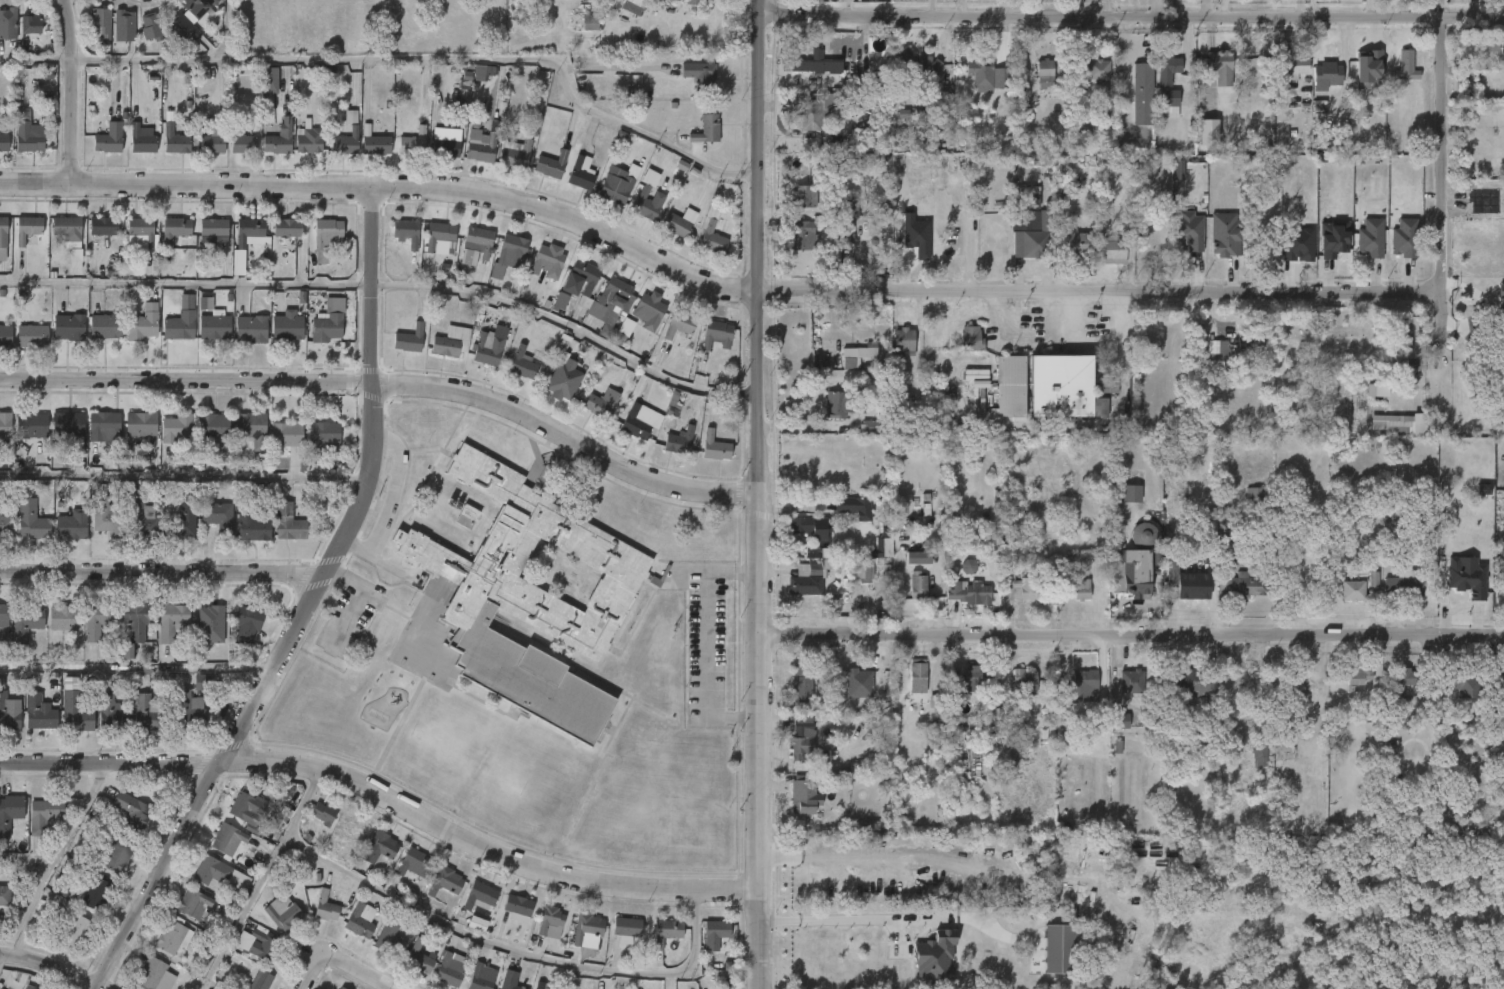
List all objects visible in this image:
building: (692, 2)
building: (630, 5)
building: (198, 9)
road: (1098, 18)
road: (1473, 19)
building: (30, 22)
building: (8, 23)
building: (100, 23)
building: (590, 23)
building: (126, 25)
building: (184, 27)
building: (152, 28)
road: (227, 30)
building: (1483, 55)
road: (433, 59)
road: (35, 61)
building: (814, 64)
building: (1291, 66)
road: (616, 67)
building: (916, 67)
building: (1218, 67)
building: (1403, 67)
building: (1166, 69)
building: (1097, 70)
building: (1369, 71)
building: (483, 72)
building: (47, 74)
building: (700, 74)
building: (1043, 74)
building: (1326, 74)
building: (979, 75)
building: (465, 80)
building: (269, 81)
road: (71, 92)
building: (1140, 93)
building: (1166, 104)
building: (812, 114)
building: (707, 129)
building: (27, 132)
building: (1208, 132)
building: (109, 138)
building: (307, 138)
building: (144, 139)
building: (214, 139)
building: (176, 140)
building: (243, 141)
building: (279, 141)
building: (479, 141)
building: (4, 142)
building: (343, 142)
building: (411, 142)
building: (444, 142)
building: (373, 145)
building: (513, 154)
building: (548, 165)
building: (579, 173)
building: (617, 185)
road: (387, 188)
building: (640, 194)
building: (801, 197)
road: (1446, 199)
building: (843, 206)
building: (1028, 224)
building: (65, 225)
building: (674, 225)
building: (103, 226)
building: (708, 226)
building: (287, 227)
building: (27, 228)
building: (853, 228)
building: (141, 229)
building: (175, 229)
building: (213, 231)
building: (1188, 231)
building: (406, 232)
building: (248, 234)
building: (439, 235)
building: (802, 235)
building: (1224, 235)
building: (325, 236)
building: (1368, 237)
building: (1403, 237)
building: (2, 238)
building: (1333, 239)
building: (478, 241)
building: (1077, 243)
building: (1297, 245)
building: (512, 249)
building: (1113, 249)
building: (547, 259)
building: (579, 281)
road: (186, 284)
road: (1101, 289)
building: (1500, 292)
building: (609, 299)
building: (560, 301)
building: (186, 302)
building: (646, 311)
building: (1501, 316)
building: (212, 321)
building: (328, 321)
building: (143, 324)
building: (179, 326)
building: (678, 326)
building: (68, 327)
building: (105, 327)
building: (251, 328)
building: (287, 328)
road: (567, 328)
building: (622, 332)
building: (6, 335)
building: (32, 336)
building: (714, 337)
building: (409, 339)
building: (970, 339)
building: (1251, 339)
building: (452, 342)
building: (1405, 343)
building: (902, 345)
road: (937, 346)
building: (488, 349)
building: (1216, 353)
building: (855, 357)
building: (524, 363)
building: (976, 375)
building: (563, 381)
road: (388, 385)
building: (1063, 386)
building: (1010, 387)
building: (1377, 391)
building: (602, 403)
building: (840, 404)
building: (6, 423)
building: (142, 424)
building: (635, 424)
building: (1391, 424)
building: (32, 425)
building: (215, 425)
road: (801, 425)
building: (105, 426)
building: (70, 427)
building: (178, 427)
building: (871, 427)
building: (252, 428)
building: (286, 434)
building: (319, 439)
building: (680, 441)
building: (715, 447)
road: (184, 476)
road: (755, 494)
building: (1254, 497)
road: (387, 499)
road: (792, 505)
building: (853, 506)
building: (106, 514)
building: (184, 516)
building: (467, 517)
building: (218, 519)
building: (32, 520)
building: (141, 522)
building: (288, 524)
building: (6, 525)
building: (73, 525)
building: (252, 525)
building: (811, 527)
building: (1143, 536)
building: (1225, 537)
building: (1027, 540)
building: (877, 558)
building: (917, 558)
building: (969, 566)
building: (1128, 570)
road: (162, 574)
building: (1466, 577)
building: (808, 582)
building: (1402, 585)
building: (1244, 586)
building: (917, 587)
building: (1023, 589)
building: (1185, 589)
building: (1080, 590)
building: (1352, 591)
building: (967, 592)
road: (355, 598)
building: (527, 600)
road: (306, 607)
building: (4, 613)
building: (66, 617)
building: (99, 619)
building: (174, 622)
building: (25, 623)
building: (137, 624)
building: (210, 625)
building: (246, 625)
road: (1128, 633)
road: (704, 643)
parking lot: (704, 644)
road: (135, 667)
building: (1359, 675)
building: (863, 676)
building: (972, 677)
building: (916, 680)
building: (1243, 681)
building: (202, 682)
building: (1024, 682)
building: (1083, 682)
building: (1130, 682)
building: (1399, 682)
building: (1464, 682)
building: (1197, 683)
building: (799, 684)
building: (1300, 689)
building: (933, 702)
building: (187, 712)
building: (8, 713)
building: (38, 713)
building: (74, 714)
building: (114, 715)
building: (150, 715)
building: (1120, 721)
building: (1067, 722)
building: (801, 739)
building: (1257, 753)
road: (383, 796)
building: (801, 797)
building: (242, 807)
building: (130, 811)
building: (10, 813)
building: (44, 813)
building: (323, 813)
building: (1473, 824)
building: (350, 829)
building: (876, 829)
building: (228, 837)
building: (380, 849)
road: (841, 852)
building: (117, 856)
road: (23, 858)
road: (51, 859)
building: (413, 861)
building: (214, 871)
road: (259, 878)
building: (445, 881)
building: (97, 894)
building: (5, 895)
building: (480, 896)
building: (195, 901)
building: (325, 906)
building: (518, 907)
building: (283, 913)
building: (550, 918)
road: (846, 919)
building: (359, 921)
building: (587, 926)
building: (627, 929)
building: (77, 931)
building: (667, 931)
building: (716, 931)
building: (173, 937)
building: (389, 938)
building: (263, 944)
building: (1059, 949)
road: (510, 950)
building: (935, 957)
building: (419, 958)
road: (48, 966)
road: (357, 970)
building: (450, 970)
building: (152, 972)
road: (313, 976)
building: (480, 978)
building: (24, 979)
building: (260, 980)
building: (510, 980)
building: (541, 985)
building: (339, 988)
building: (341, 988)

